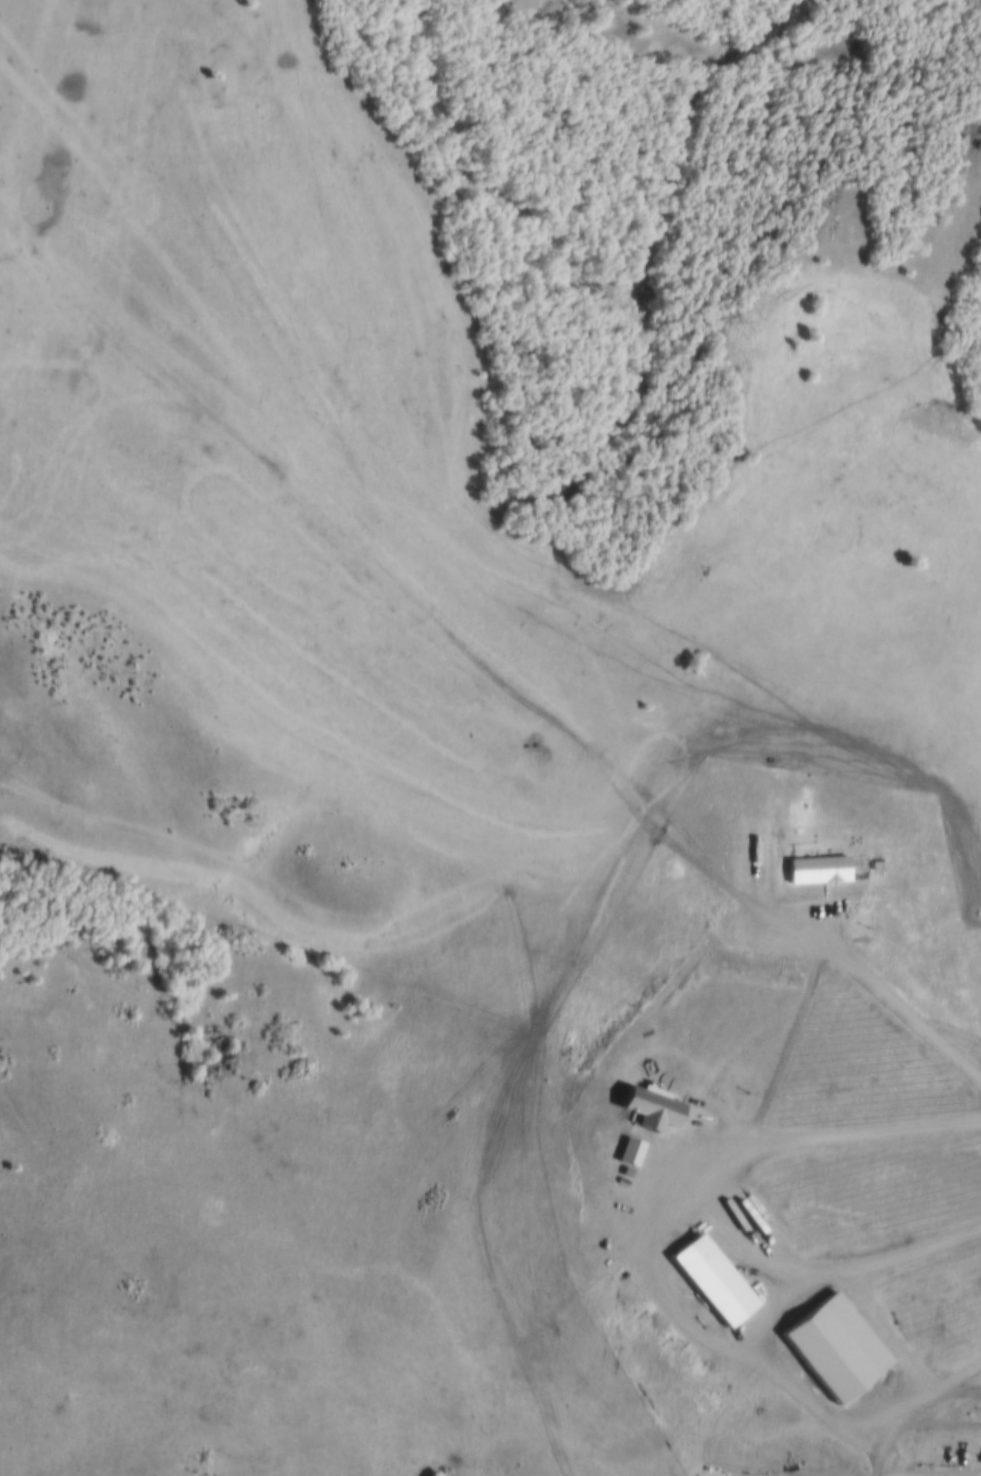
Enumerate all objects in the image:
road: (342, 314)
road: (374, 567)
building: (872, 866)
building: (811, 869)
road: (876, 984)
building: (644, 1113)
road: (801, 1134)
building: (624, 1155)
building: (707, 1284)

